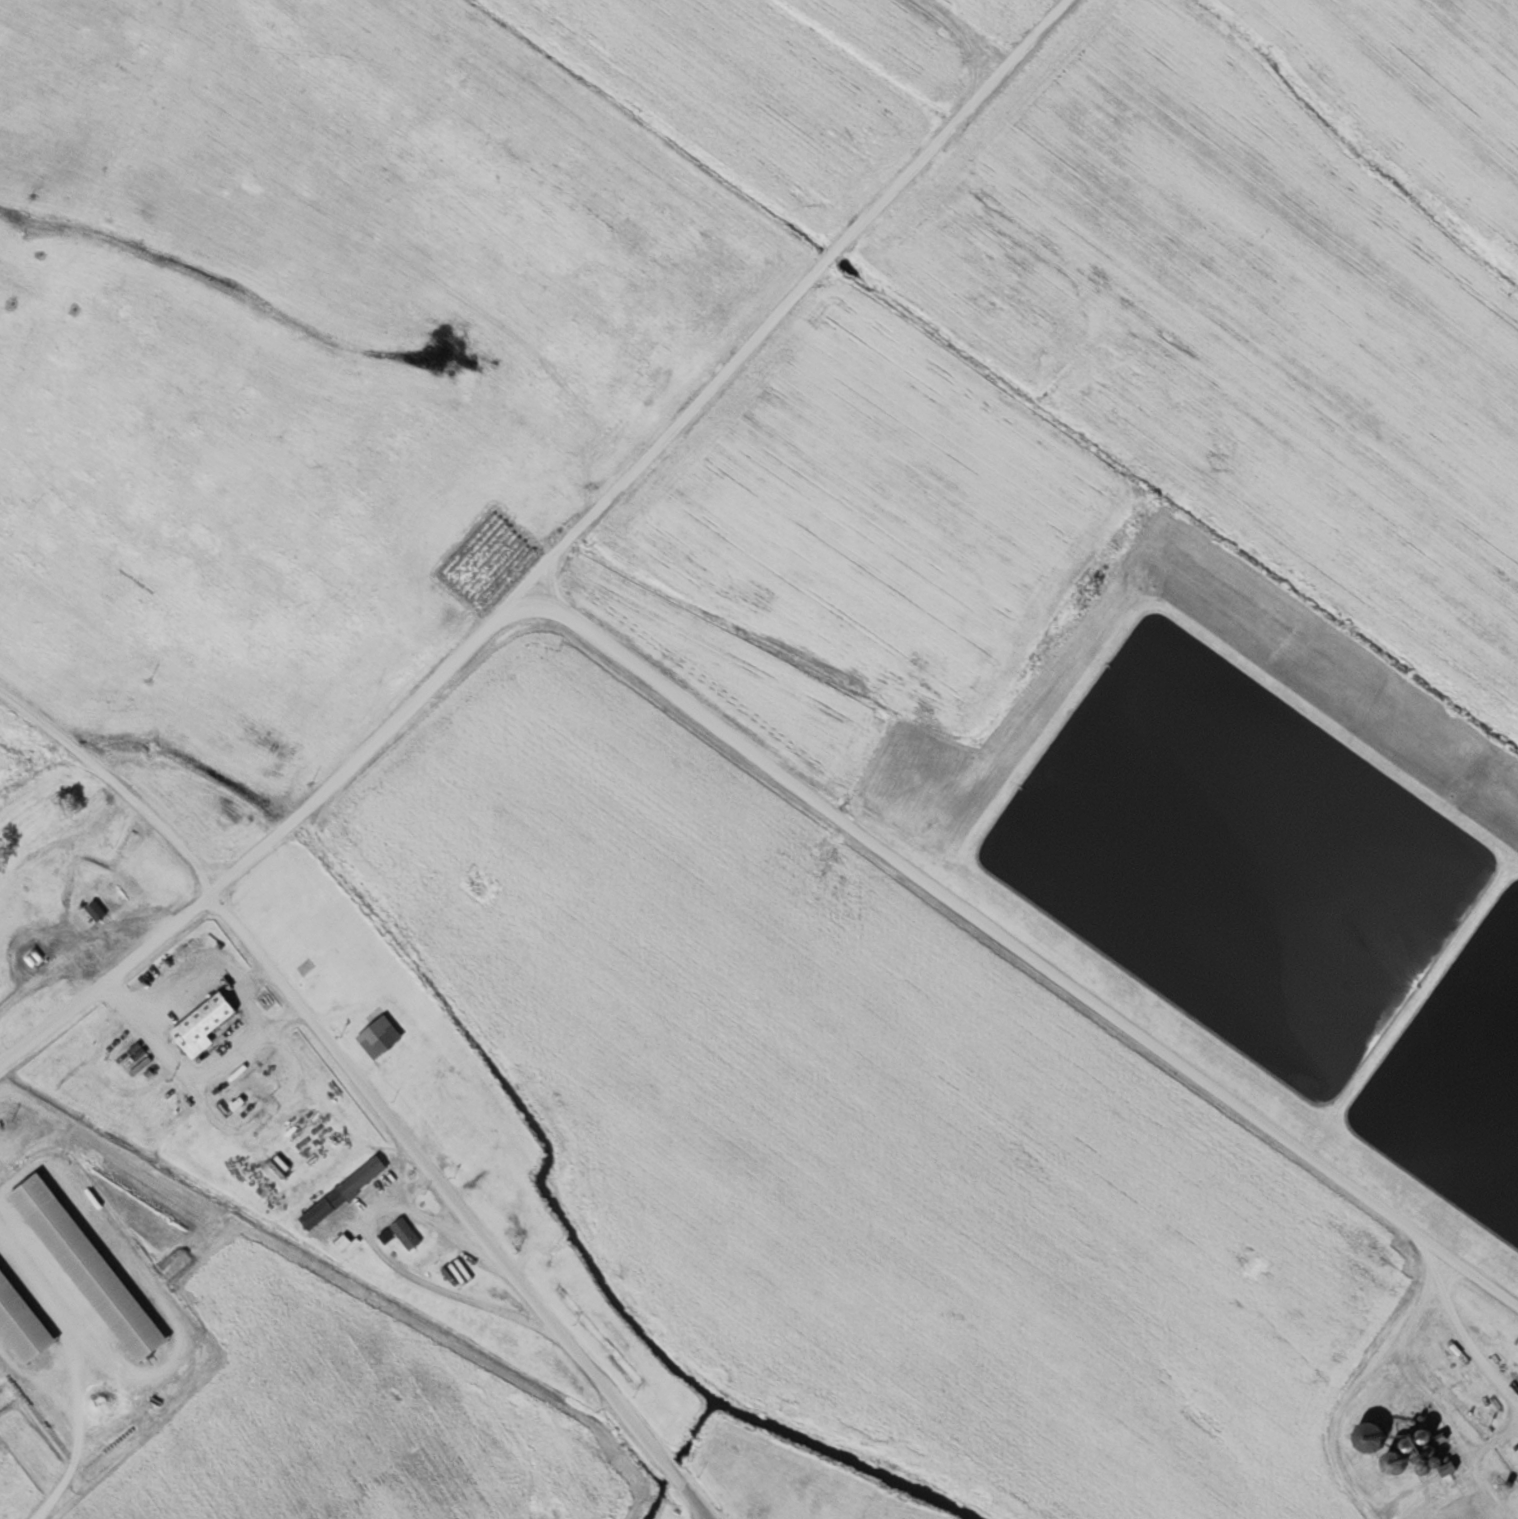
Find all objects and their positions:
road: (576, 567)
building: (94, 911)
road: (1020, 967)
building: (199, 1025)
building: (376, 1037)
building: (135, 1051)
road: (369, 1089)
building: (341, 1193)
road: (410, 1201)
building: (404, 1234)
building: (384, 1237)
building: (347, 1246)
building: (84, 1269)
road: (409, 1270)
building: (19, 1327)
road: (1463, 1335)
building: (1392, 1442)
road: (1472, 1463)

